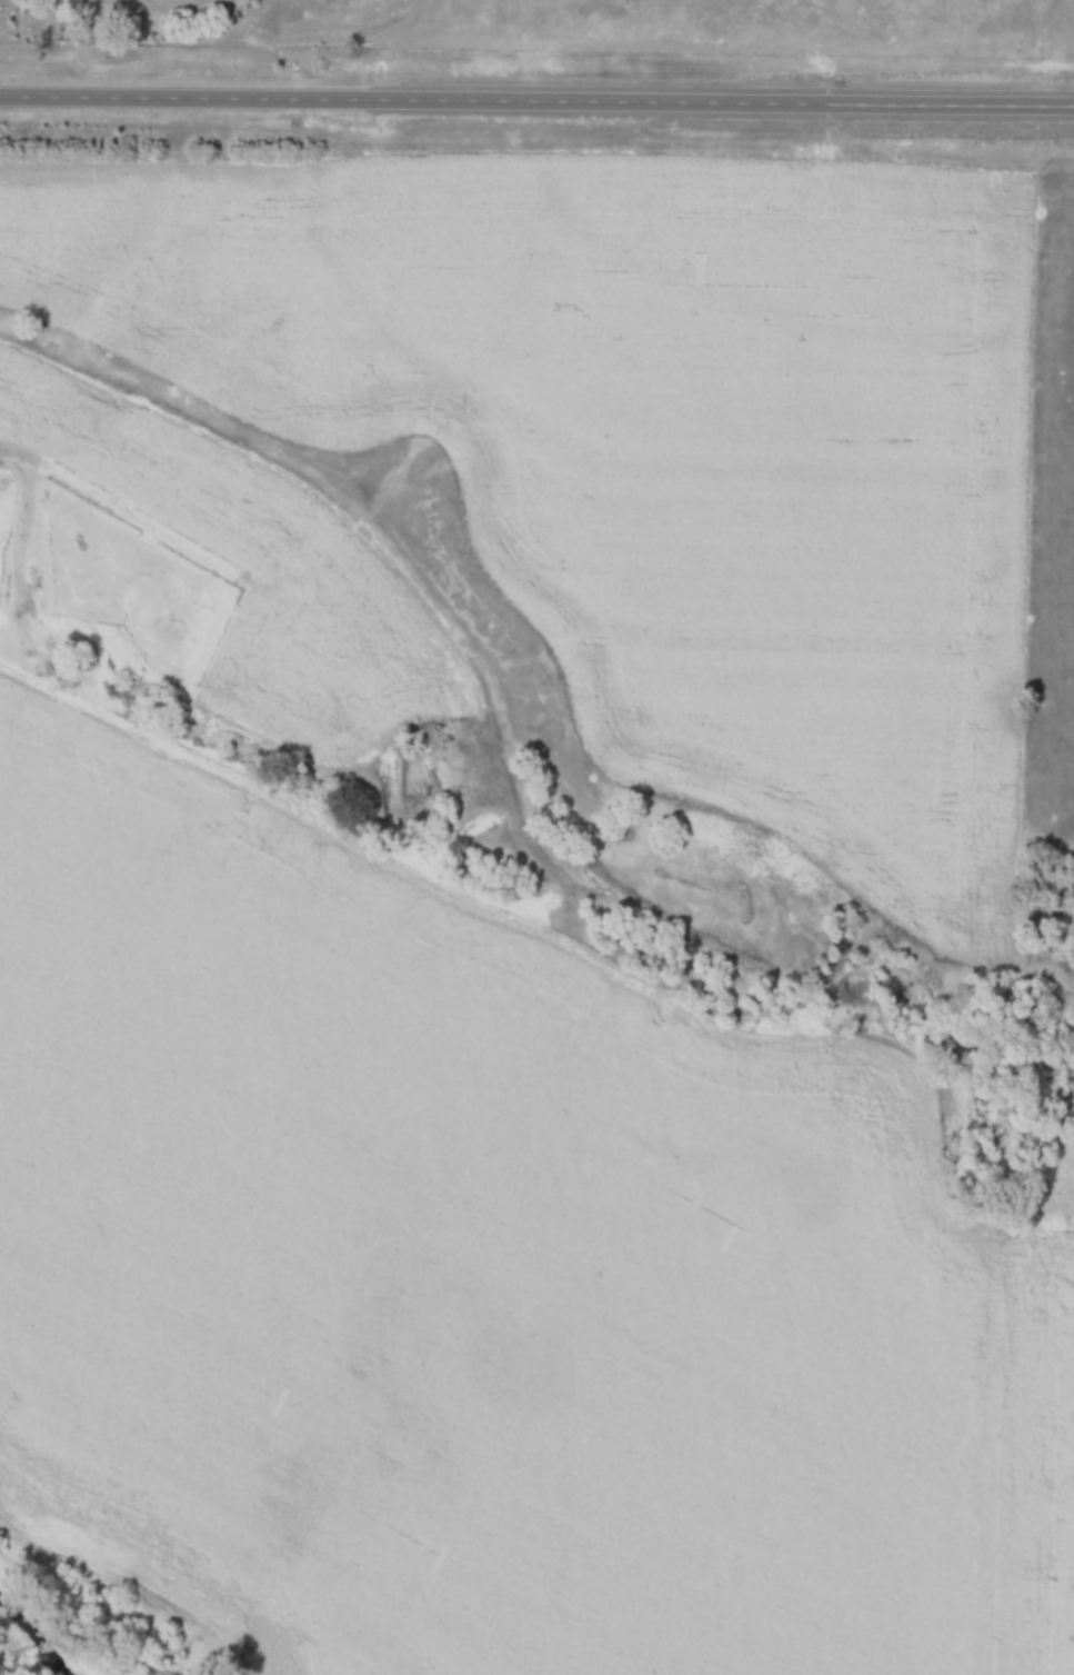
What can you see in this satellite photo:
road: (536, 101)
crop: (461, 1286)
crop: (1047, 1462)

